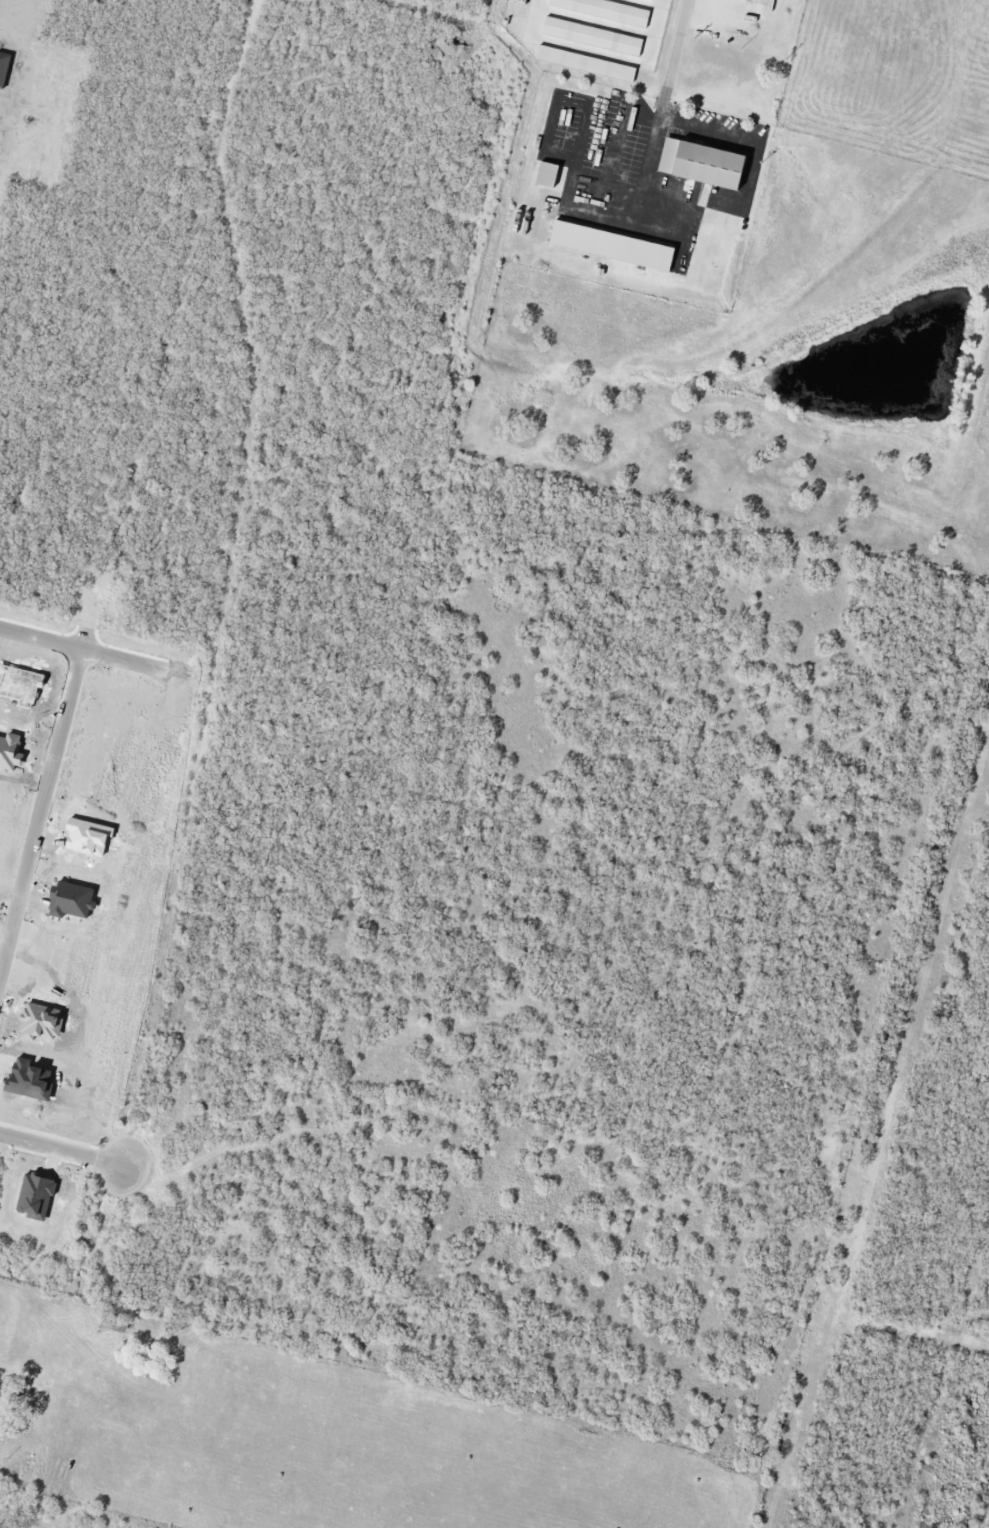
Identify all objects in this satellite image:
building: (654, 0)
building: (605, 11)
building: (594, 37)
road: (675, 48)
building: (587, 65)
road: (648, 152)
building: (705, 164)
building: (549, 176)
building: (614, 247)
road: (438, 352)
road: (444, 591)
road: (174, 675)
road: (42, 813)
road: (181, 1177)
road: (943, 1187)
road: (947, 1364)

